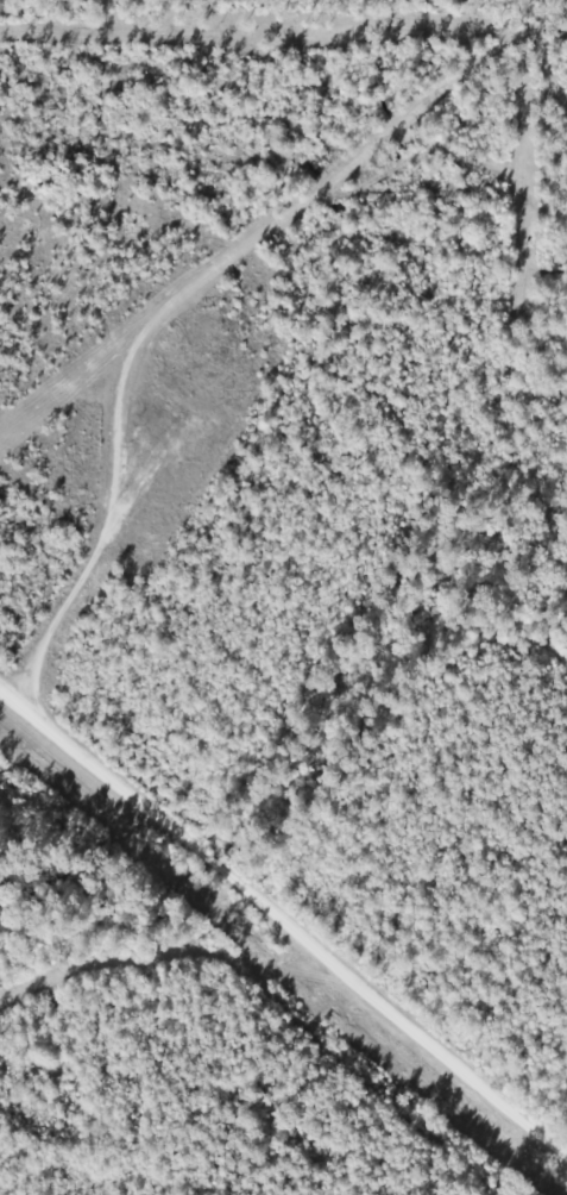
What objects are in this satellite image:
road: (283, 922)

